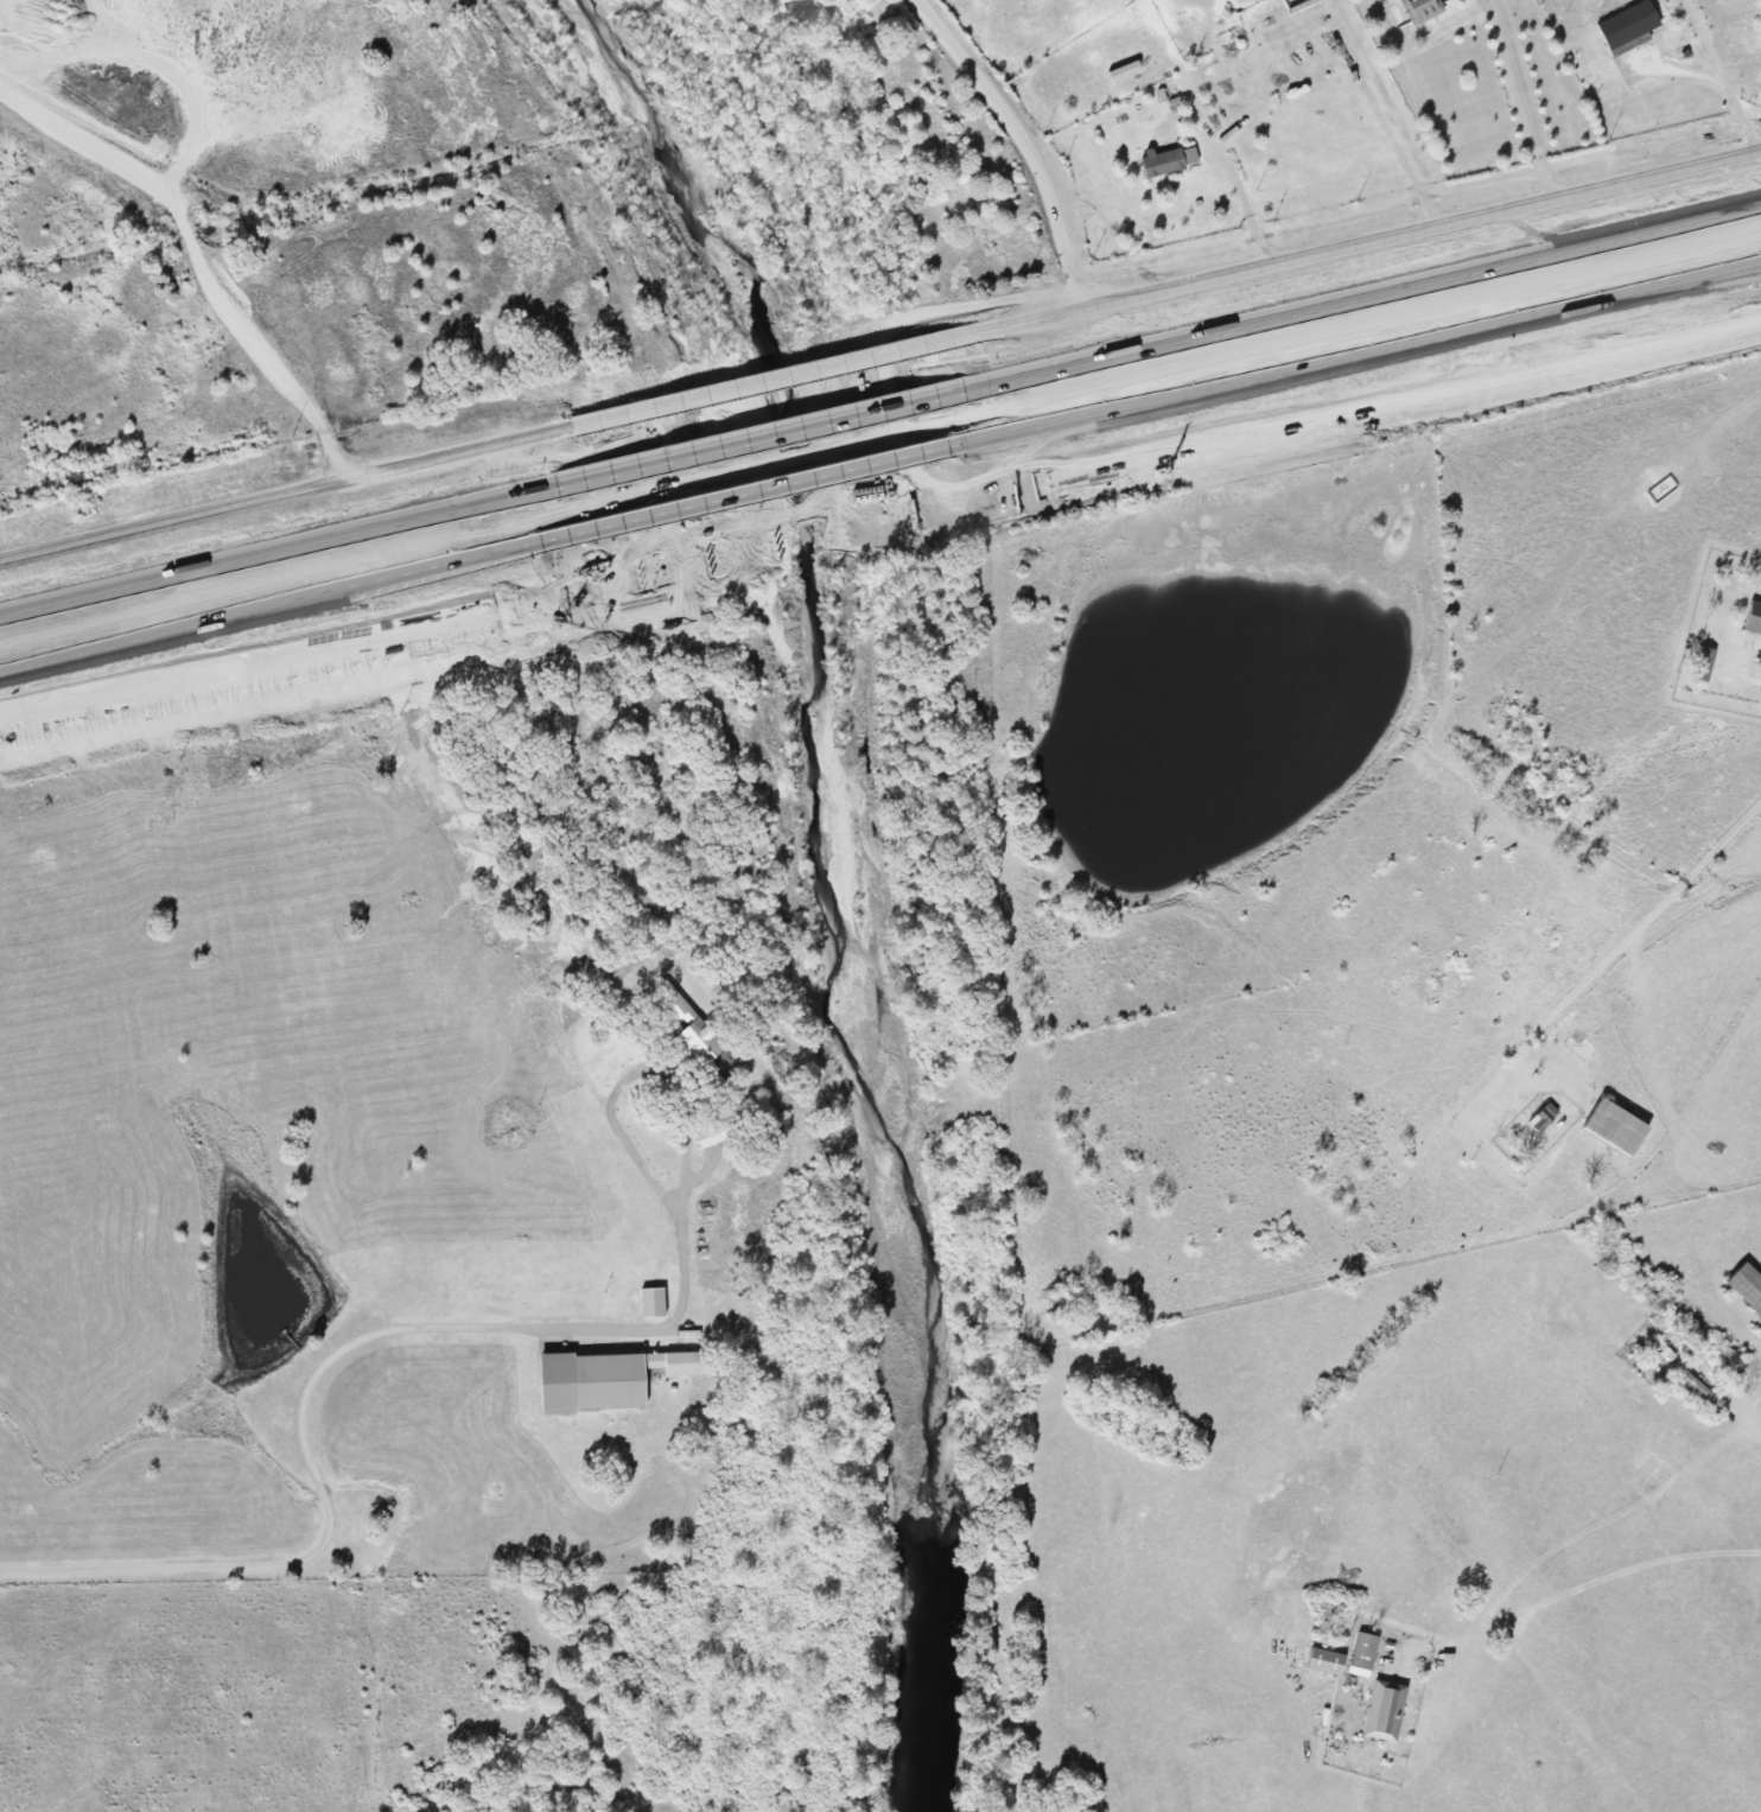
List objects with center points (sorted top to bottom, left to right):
building: (1420, 9)
road: (1452, 17)
building: (1627, 28)
road: (1718, 76)
road: (1518, 101)
road: (1391, 133)
road: (1025, 141)
building: (1169, 160)
road: (1244, 212)
road: (1372, 241)
road: (1358, 299)
road: (1359, 350)
road: (778, 379)
road: (1399, 409)
road: (754, 440)
road: (751, 491)
road: (287, 492)
road: (778, 547)
road: (276, 552)
road: (272, 604)
building: (1752, 619)
building: (1703, 665)
road: (260, 667)
road: (20, 720)
river: (857, 882)
airport runway: (1719, 943)
building: (685, 1028)
airport: (1615, 1054)
building: (1541, 1118)
road: (1485, 1127)
building: (1614, 1128)
building: (707, 1136)
building: (1746, 1288)
building: (650, 1303)
road: (331, 1354)
building: (600, 1380)
building: (1700, 1391)
road: (1591, 1517)
road: (1575, 1588)
building: (1362, 1654)
building: (1323, 1661)
building: (1384, 1711)

